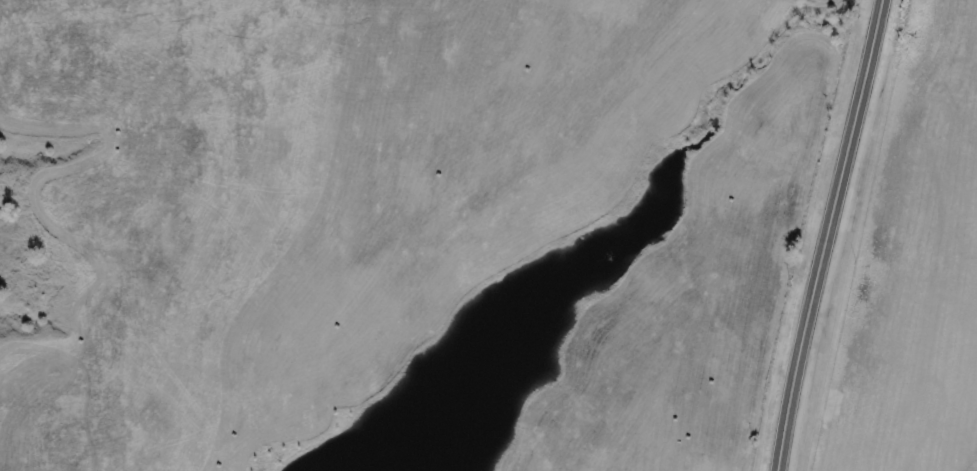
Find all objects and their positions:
road: (824, 234)

